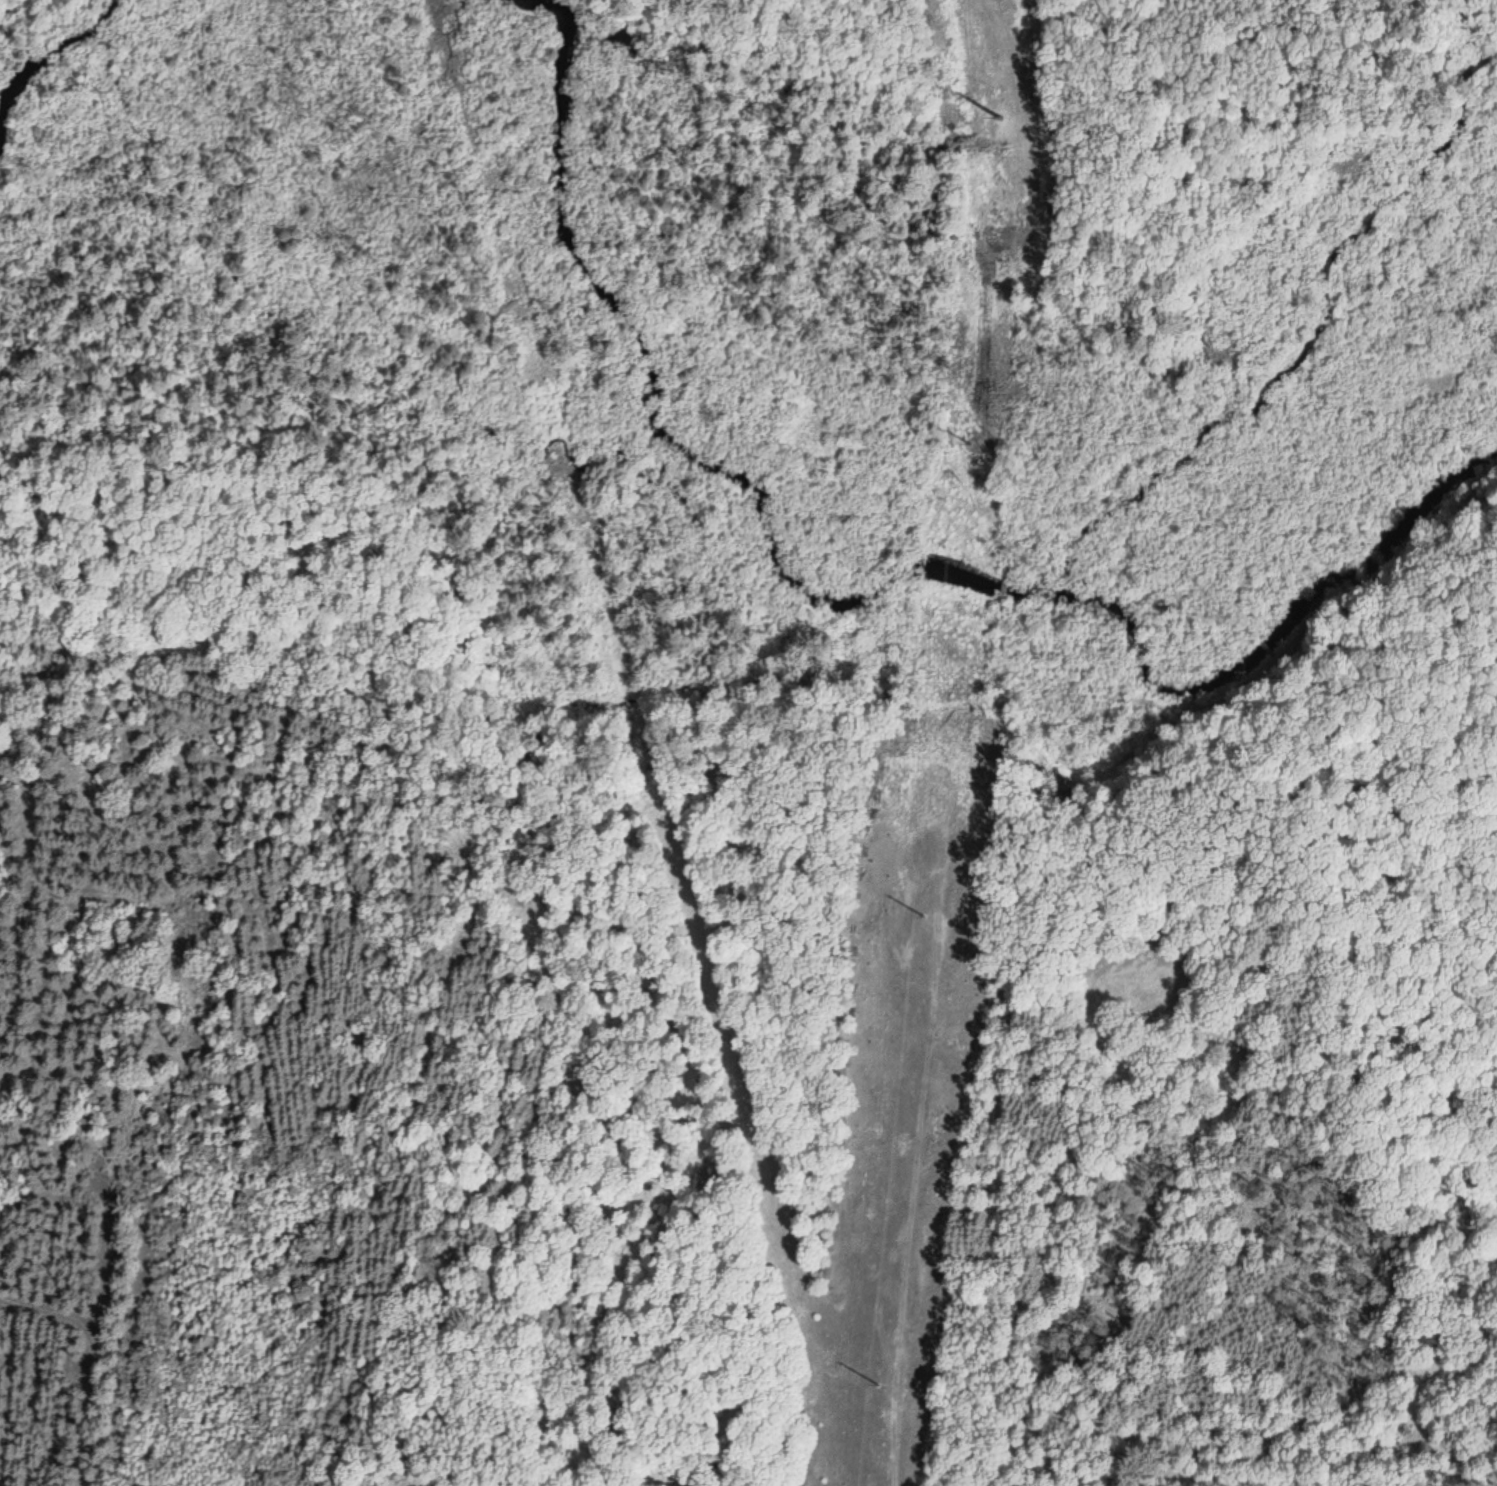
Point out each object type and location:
river: (36, 62)
river: (872, 590)

